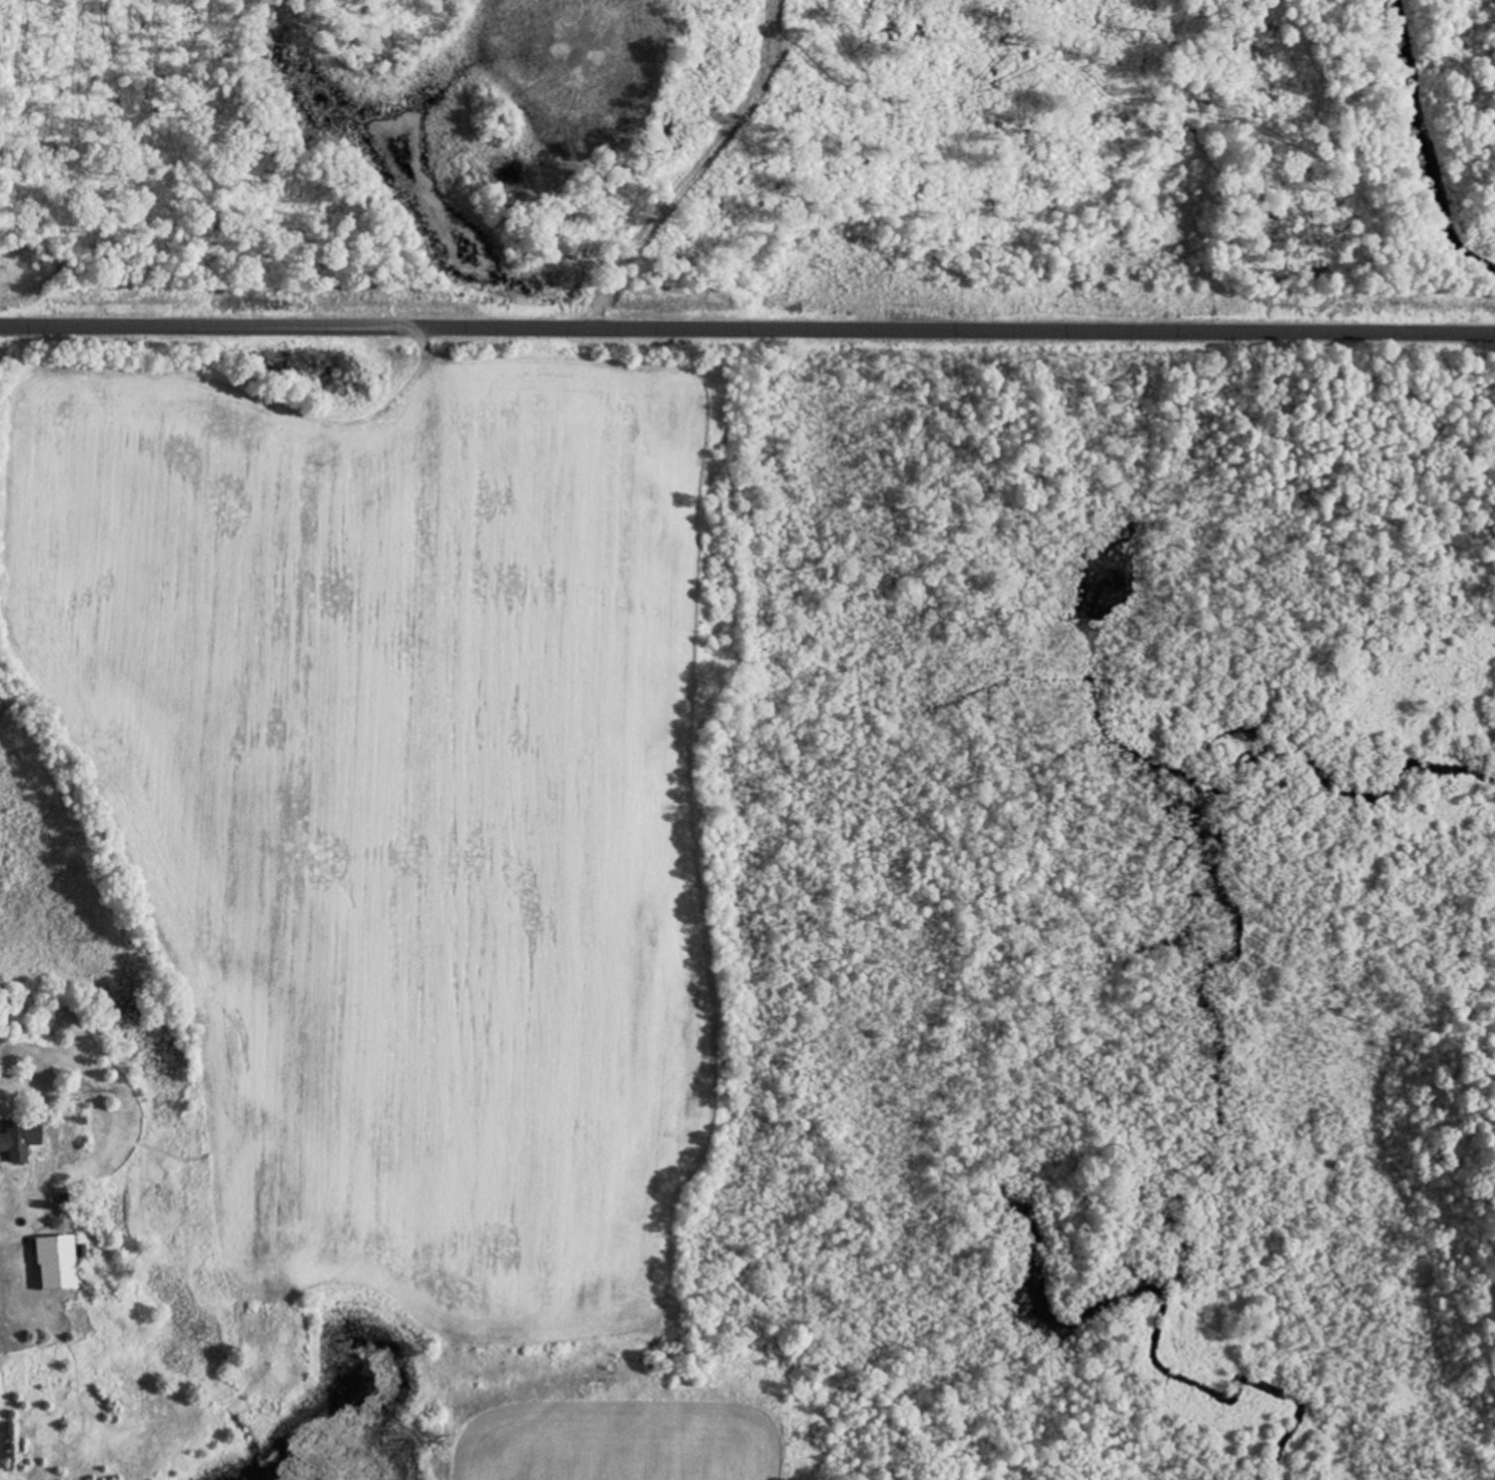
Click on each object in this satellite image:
river: (1430, 143)
road: (747, 331)
river: (1193, 1043)
building: (15, 1142)
building: (54, 1264)

